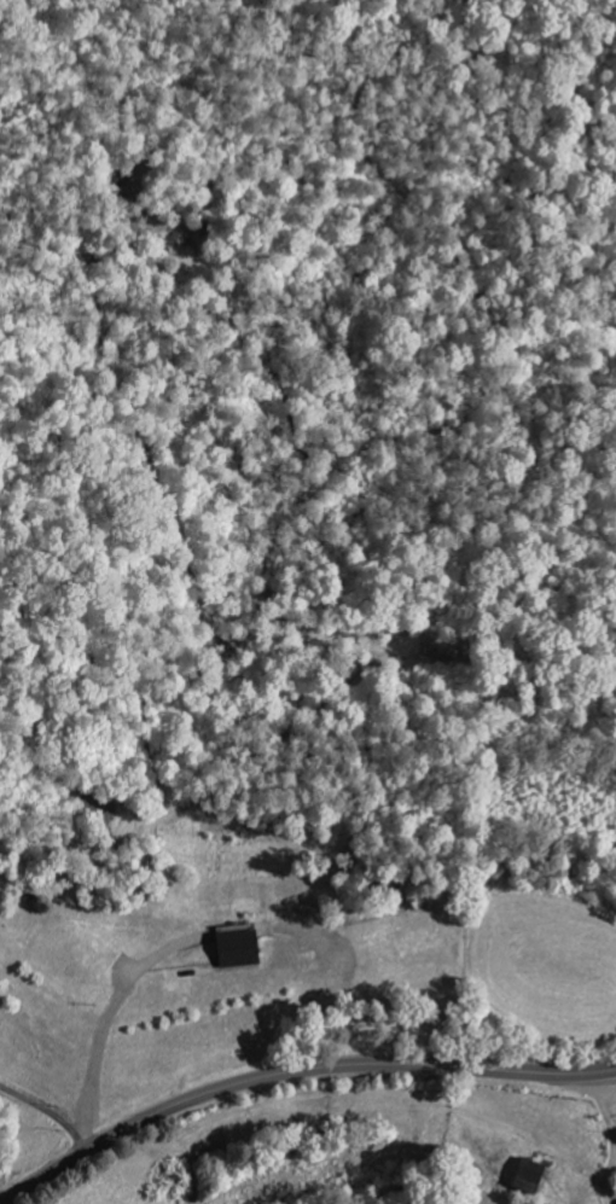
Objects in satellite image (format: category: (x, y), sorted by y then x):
building: (99, 810)
building: (242, 950)
road: (292, 1072)
road: (47, 1113)
building: (533, 1176)

